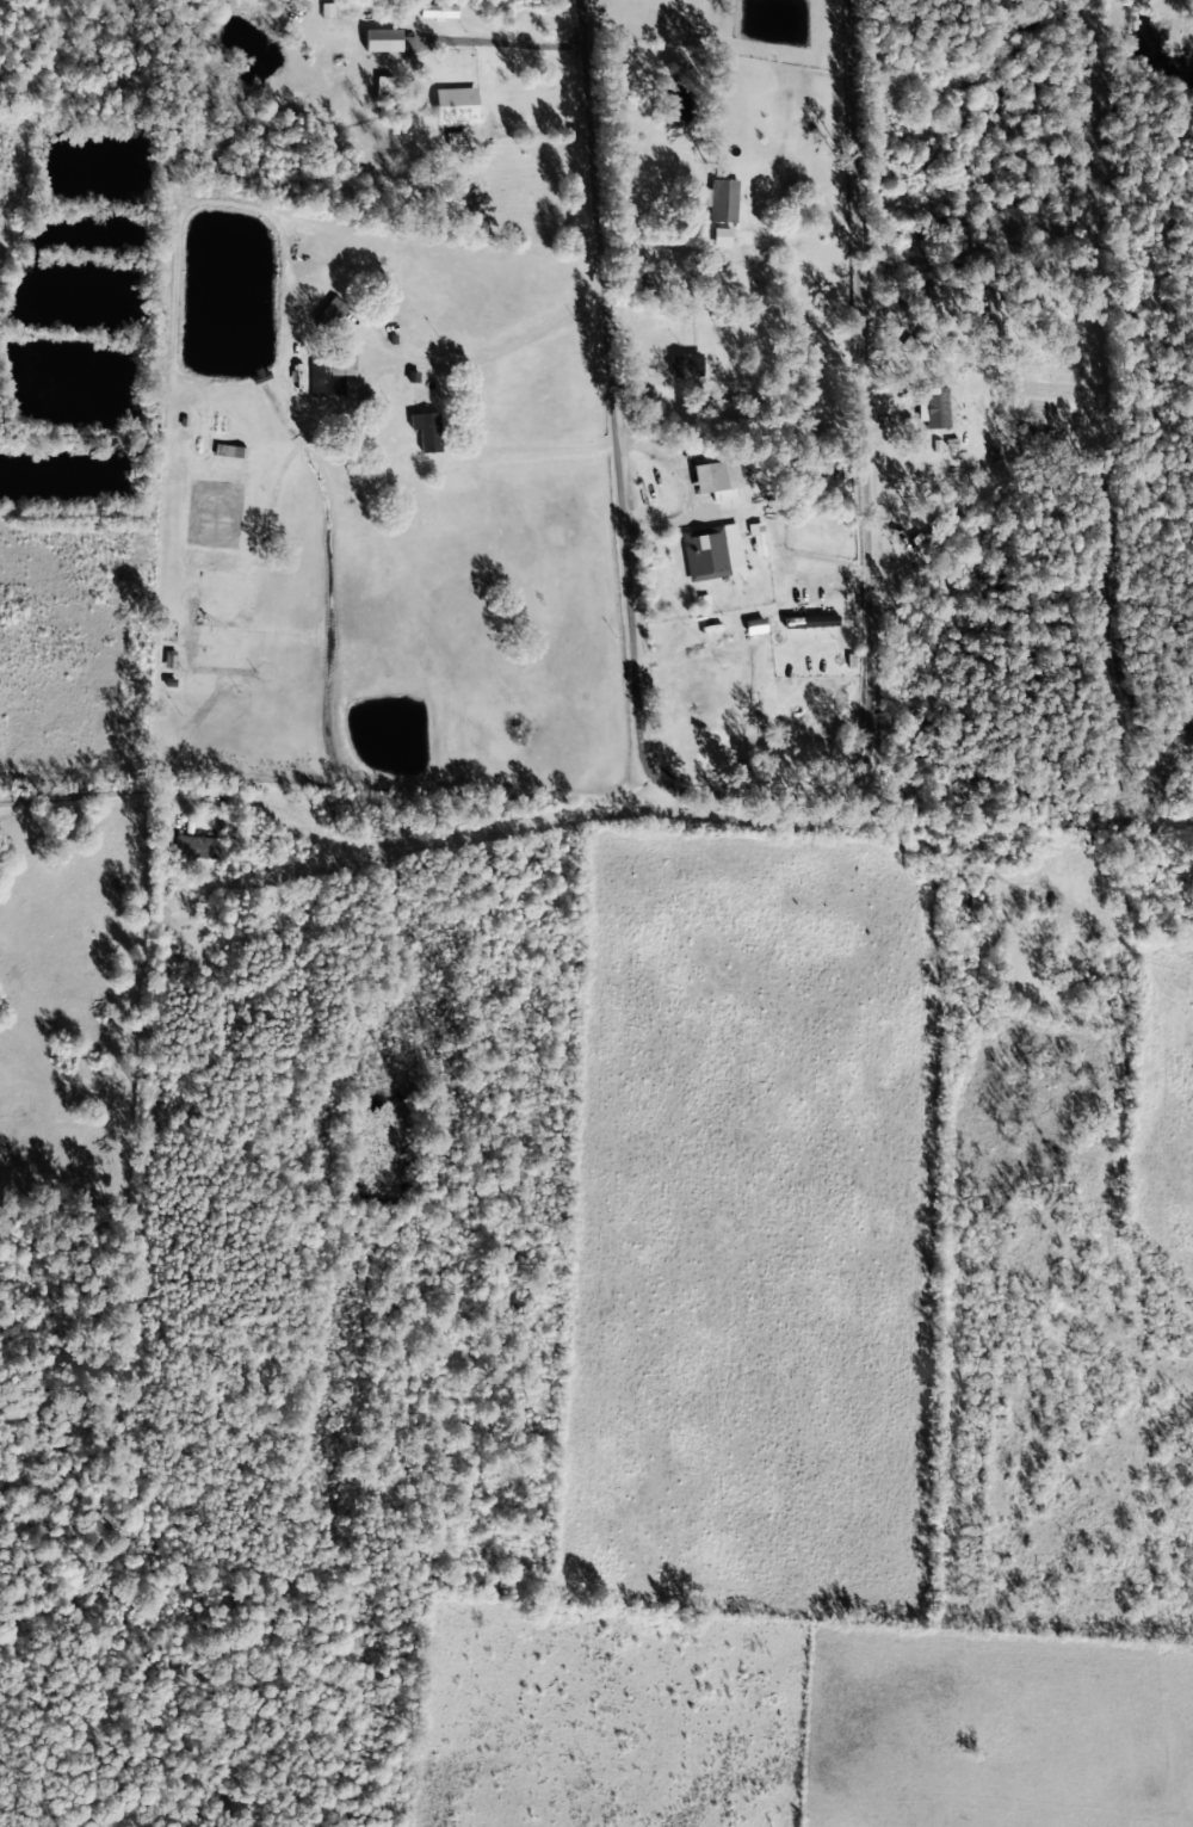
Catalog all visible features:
building: (439, 8)
building: (384, 37)
building: (383, 85)
building: (458, 98)
building: (724, 198)
building: (329, 313)
building: (687, 363)
building: (428, 428)
building: (234, 450)
building: (719, 477)
building: (756, 532)
building: (922, 538)
building: (713, 550)
building: (812, 619)
building: (755, 624)
building: (191, 625)
road: (750, 788)
road: (494, 807)
road: (1090, 826)
building: (199, 845)

